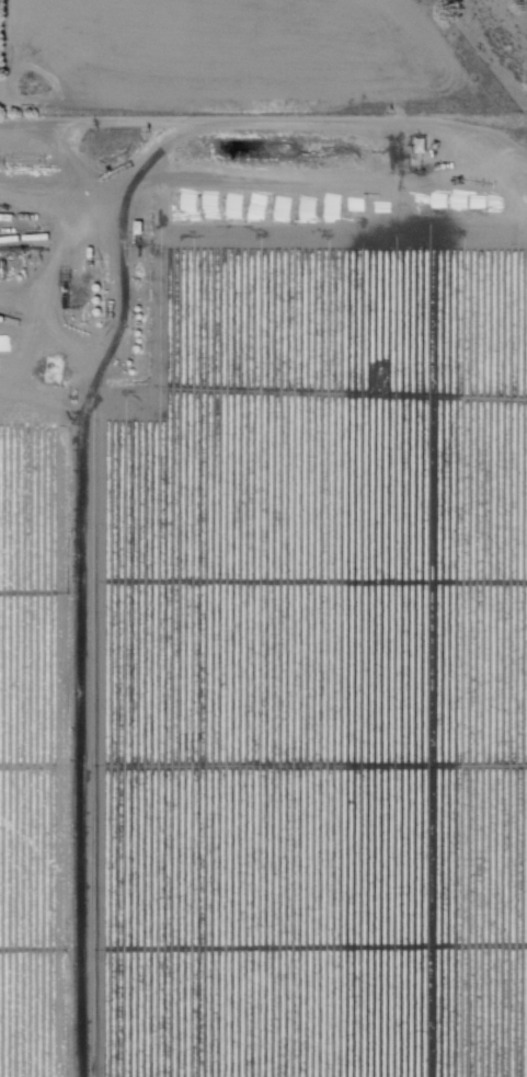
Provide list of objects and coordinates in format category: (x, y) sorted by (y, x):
road: (266, 126)

